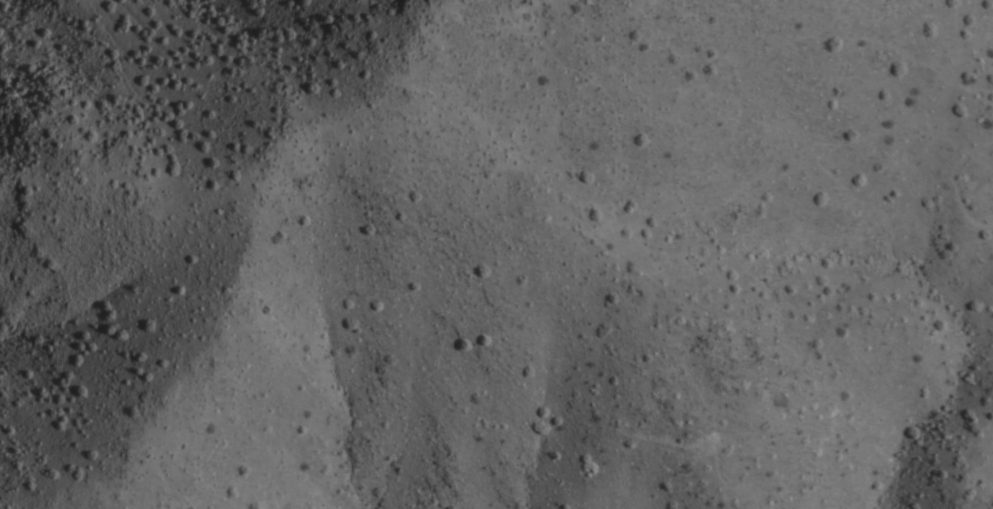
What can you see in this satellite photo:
road: (517, 9)
road: (951, 180)

